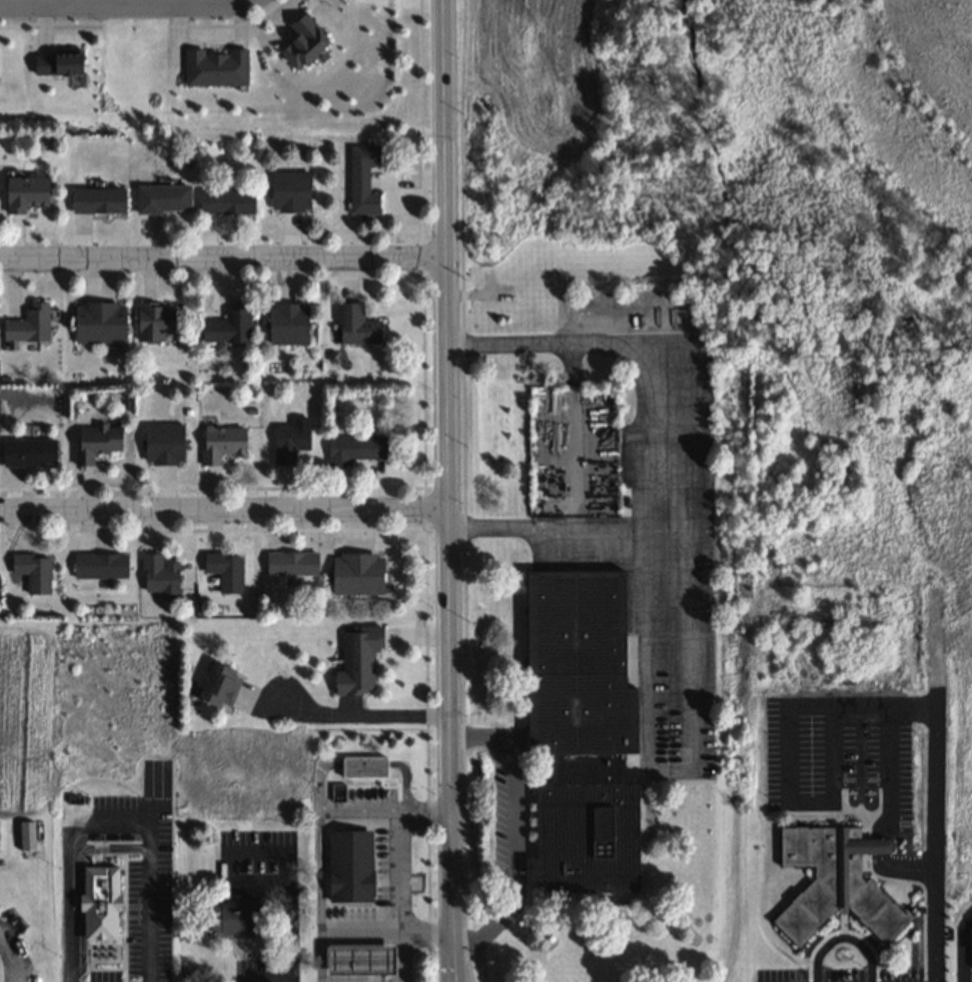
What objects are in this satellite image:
road: (121, 4)
building: (302, 41)
building: (57, 63)
building: (362, 180)
building: (290, 191)
building: (25, 192)
building: (162, 198)
building: (97, 200)
building: (226, 201)
road: (222, 257)
building: (154, 320)
building: (98, 322)
building: (287, 323)
building: (28, 324)
building: (228, 324)
building: (356, 325)
road: (685, 434)
building: (290, 440)
building: (95, 441)
building: (221, 442)
building: (164, 443)
building: (354, 448)
building: (29, 451)
road: (448, 490)
road: (224, 509)
road: (568, 528)
building: (291, 562)
building: (100, 565)
building: (225, 569)
building: (32, 570)
building: (356, 572)
building: (158, 573)
building: (357, 659)
building: (219, 685)
road: (353, 713)
building: (580, 733)
building: (363, 766)
road: (890, 772)
road: (935, 792)
road: (791, 801)
road: (108, 816)
road: (514, 828)
road: (879, 843)
road: (223, 850)
road: (403, 865)
building: (349, 866)
road: (901, 868)
building: (833, 882)
building: (97, 901)
building: (233, 918)
road: (289, 931)
road: (405, 953)
building: (359, 959)

